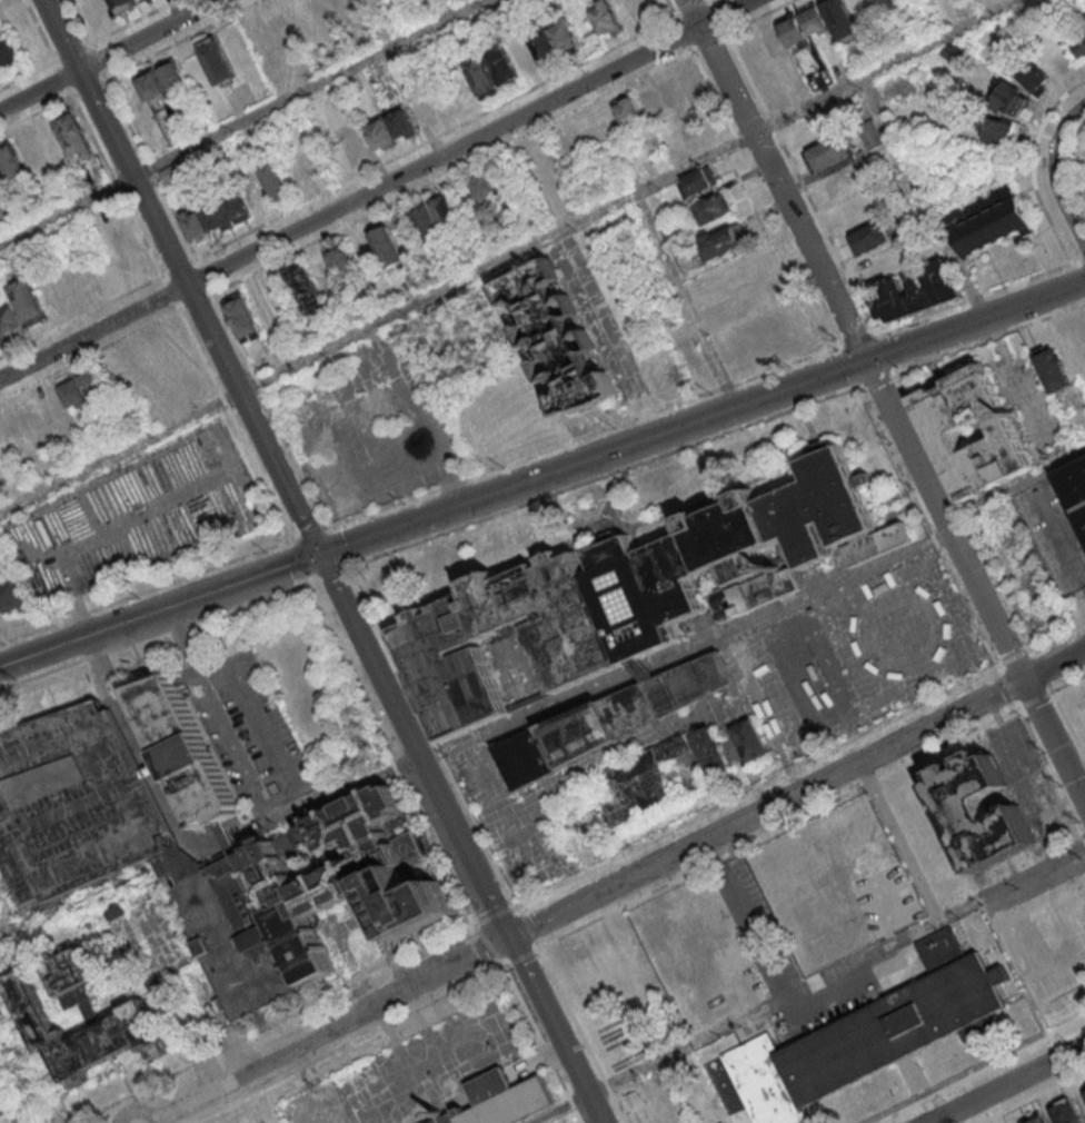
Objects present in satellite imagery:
building: (140, 0)
building: (100, 8)
building: (884, 8)
building: (628, 12)
road: (762, 17)
building: (606, 18)
building: (812, 18)
building: (837, 18)
building: (275, 31)
building: (793, 31)
building: (23, 32)
building: (1079, 37)
building: (9, 53)
building: (520, 56)
road: (112, 57)
building: (216, 60)
building: (1046, 64)
building: (172, 73)
building: (150, 85)
building: (668, 91)
building: (1009, 99)
building: (628, 110)
building: (422, 111)
road: (240, 120)
building: (390, 129)
building: (997, 130)
building: (869, 135)
building: (74, 137)
building: (349, 141)
building: (828, 152)
building: (22, 157)
park: (1074, 170)
building: (0, 176)
road: (1051, 176)
building: (275, 178)
building: (698, 180)
road: (774, 180)
building: (836, 182)
road: (803, 183)
building: (484, 186)
road: (374, 189)
road: (924, 198)
building: (711, 208)
building: (228, 213)
building: (436, 218)
building: (988, 220)
building: (193, 223)
building: (669, 231)
building: (869, 237)
building: (721, 241)
building: (387, 246)
road: (510, 258)
building: (341, 260)
road: (180, 277)
building: (309, 280)
building: (913, 291)
building: (756, 295)
road: (981, 296)
building: (27, 299)
road: (683, 301)
parking lot: (596, 316)
building: (241, 317)
building: (10, 319)
building: (1, 337)
building: (556, 337)
road: (988, 339)
building: (684, 345)
traffic signals: (864, 360)
building: (260, 361)
building: (1053, 370)
building: (86, 387)
road: (673, 397)
road: (701, 418)
building: (949, 426)
building: (1, 438)
road: (907, 448)
road: (1014, 486)
building: (1075, 488)
crop: (135, 519)
road: (928, 526)
road: (974, 537)
road: (1061, 543)
building: (738, 549)
traffic signals: (318, 555)
building: (13, 594)
road: (798, 598)
road: (159, 610)
building: (580, 647)
road: (1014, 658)
road: (1018, 667)
building: (644, 668)
road: (645, 670)
road: (1043, 670)
road: (1069, 683)
road: (1007, 688)
road: (117, 694)
road: (1036, 700)
road: (764, 714)
road: (261, 715)
road: (529, 718)
building: (613, 719)
road: (1069, 723)
parking lot: (246, 729)
road: (228, 732)
building: (755, 744)
building: (185, 751)
building: (714, 754)
road: (1052, 775)
road: (361, 782)
building: (643, 782)
road: (756, 786)
building: (76, 806)
parking garage: (76, 806)
building: (981, 812)
road: (778, 829)
road: (455, 841)
road: (620, 885)
building: (306, 905)
building: (112, 911)
road: (935, 915)
road: (748, 918)
road: (8, 925)
road: (528, 927)
road: (521, 958)
road: (862, 972)
building: (135, 1030)
building: (864, 1034)
road: (583, 1036)
road: (542, 1044)
road: (663, 1061)
road: (981, 1071)
road: (1007, 1085)
building: (1084, 1094)
road: (1035, 1097)
building: (499, 1099)
building: (1065, 1112)
building: (1034, 1119)

